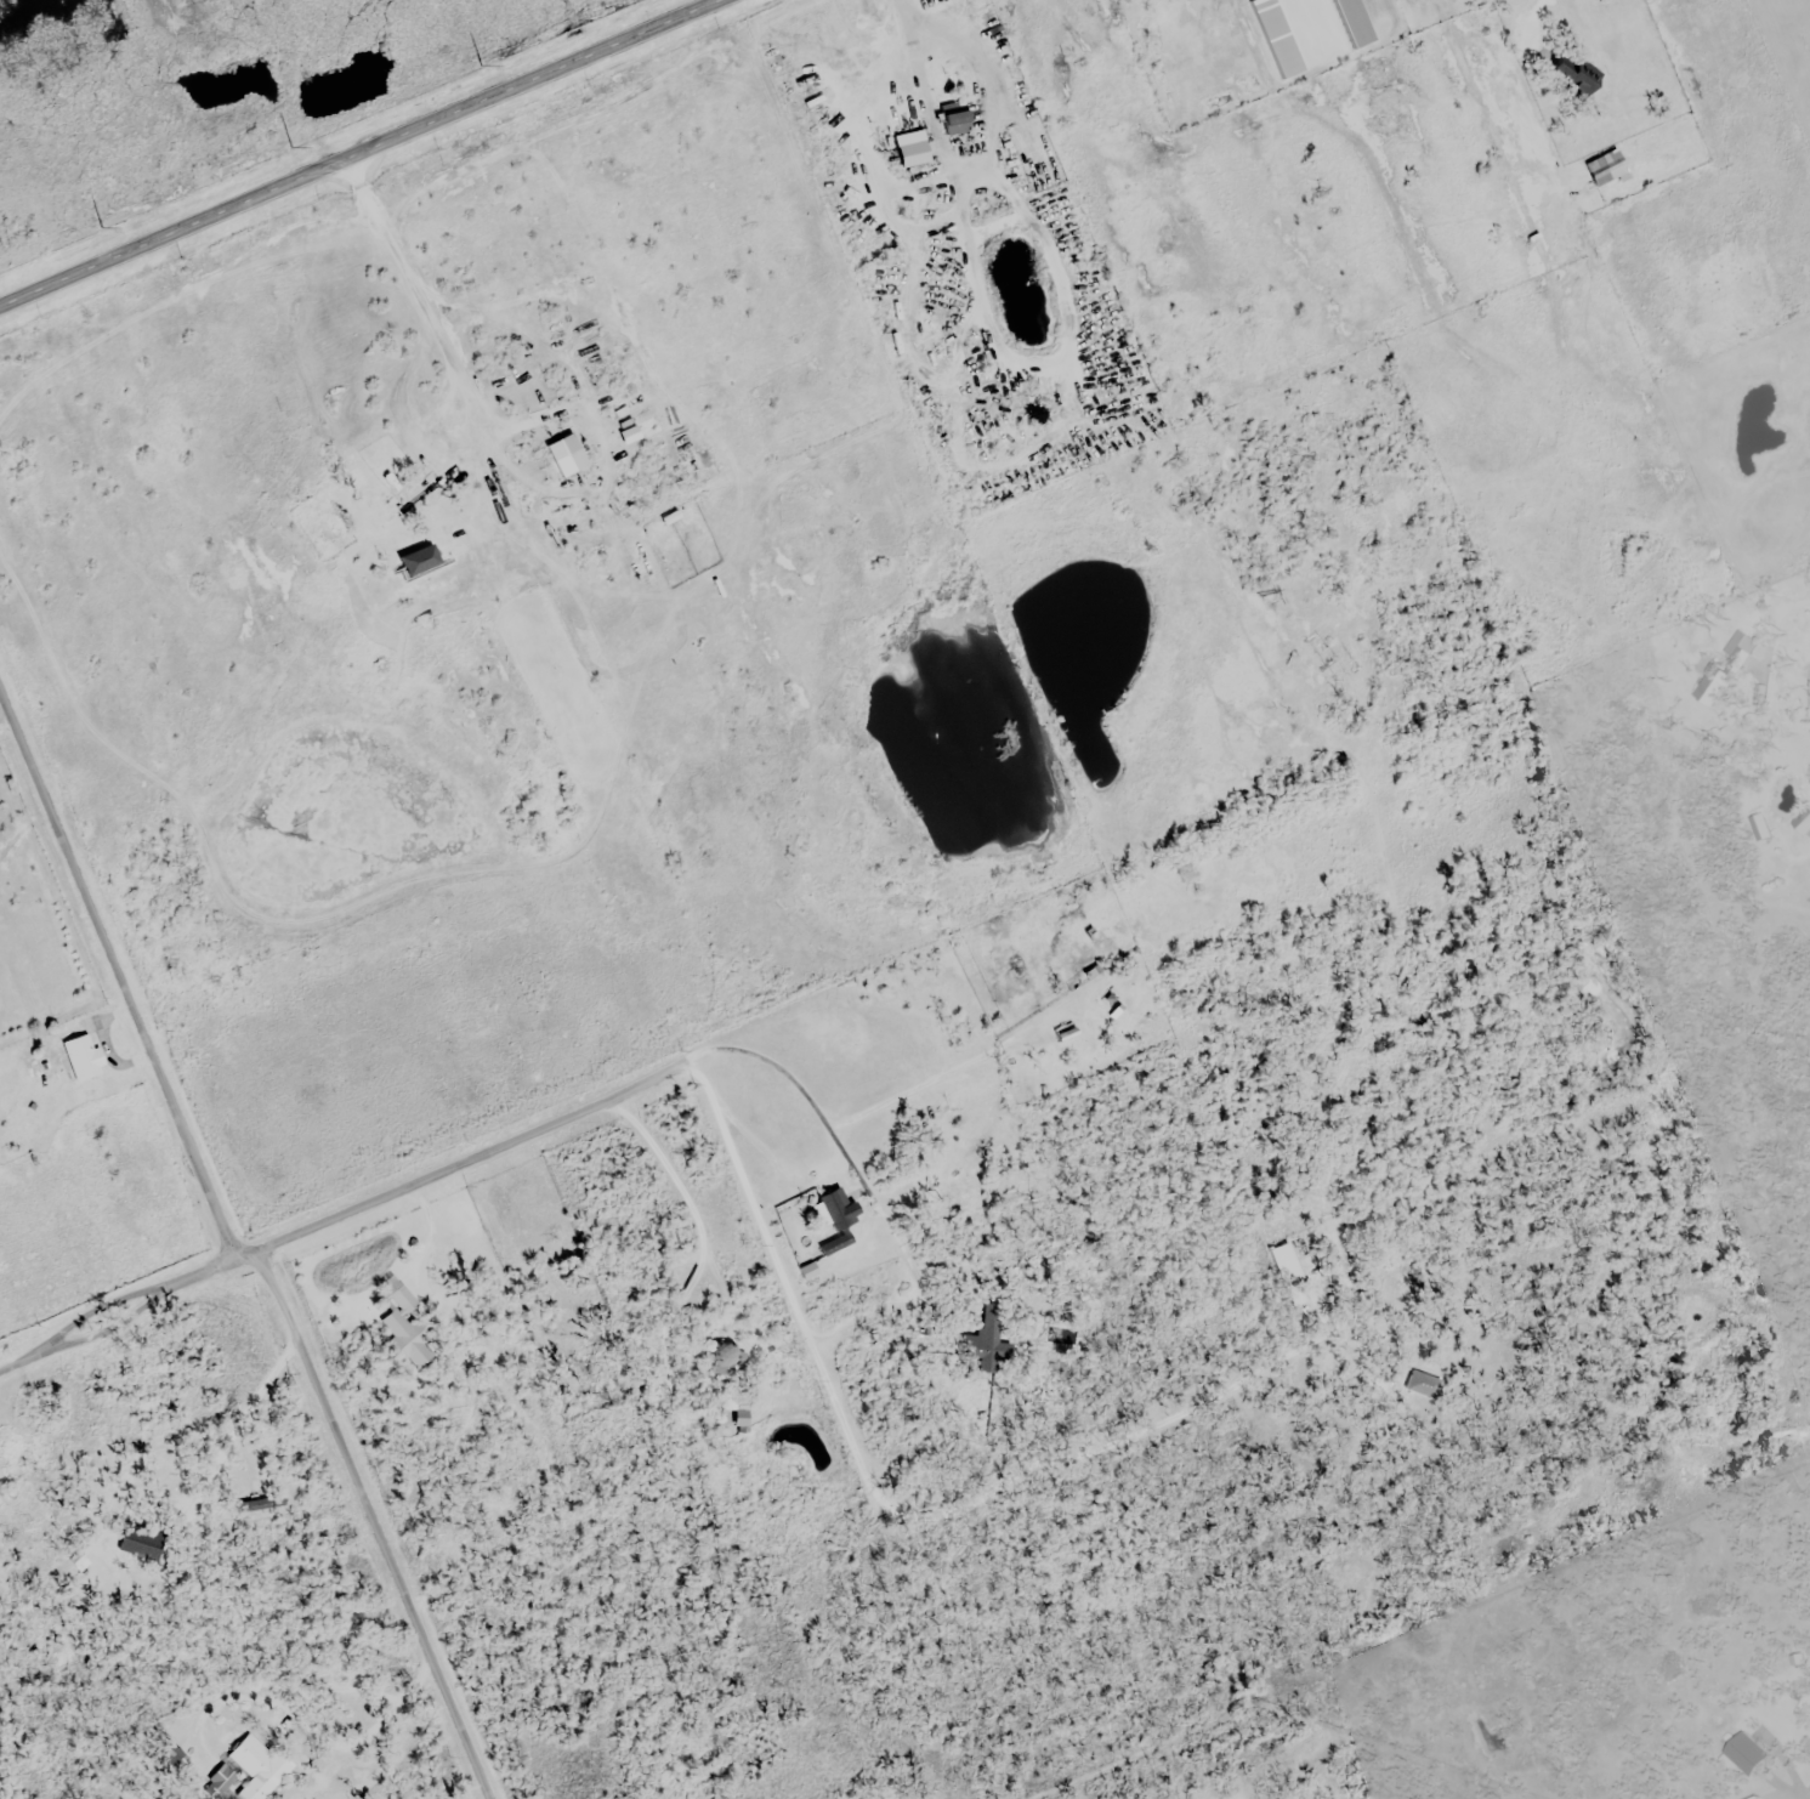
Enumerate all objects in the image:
building: (1350, 23)
building: (1276, 38)
building: (1573, 73)
building: (960, 124)
road: (361, 154)
building: (1604, 169)
building: (904, 336)
building: (632, 436)
building: (563, 459)
building: (416, 490)
building: (1322, 646)
building: (1741, 653)
building: (1712, 687)
building: (1803, 825)
building: (1759, 830)
building: (87, 1057)
road: (334, 1208)
road: (221, 1214)
building: (840, 1221)
road: (425, 1227)
building: (982, 1344)
building: (726, 1357)
building: (744, 1415)
building: (1744, 1754)
road: (472, 1764)
building: (250, 1771)

